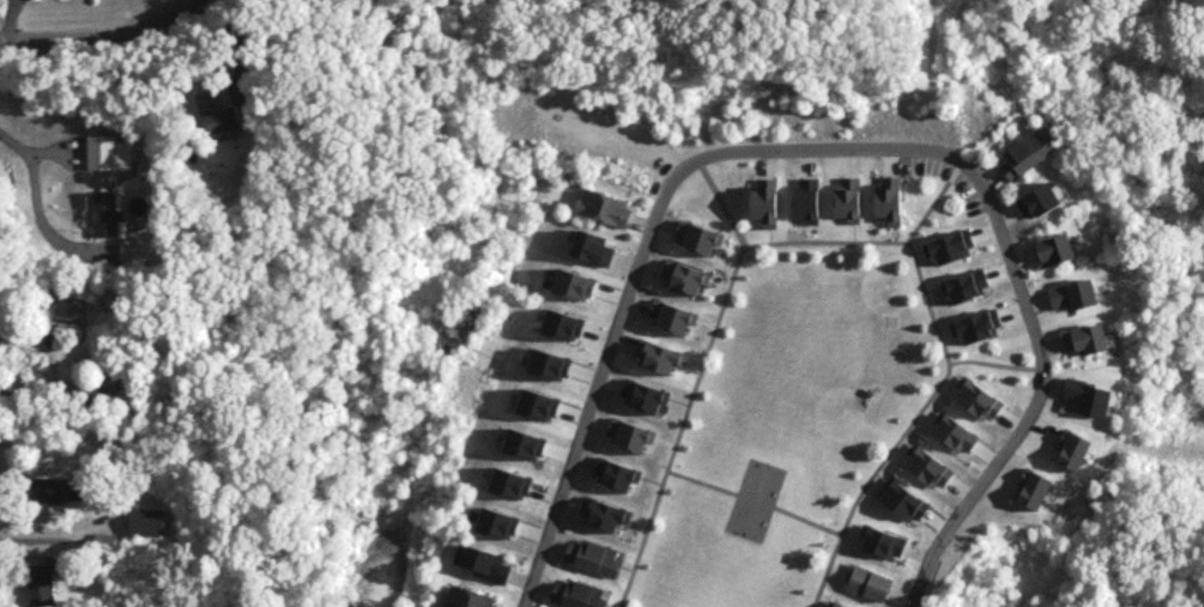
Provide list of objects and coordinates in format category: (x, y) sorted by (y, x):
road: (99, 38)
building: (213, 117)
road: (828, 142)
building: (105, 154)
building: (1020, 159)
road: (37, 201)
building: (599, 211)
building: (99, 214)
building: (1051, 254)
building: (1069, 299)
building: (47, 311)
building: (1081, 344)
building: (84, 387)
building: (48, 490)
building: (140, 523)
road: (58, 529)
building: (99, 542)
building: (593, 558)
building: (484, 566)
building: (864, 584)
building: (35, 585)
building: (573, 595)
building: (465, 599)

